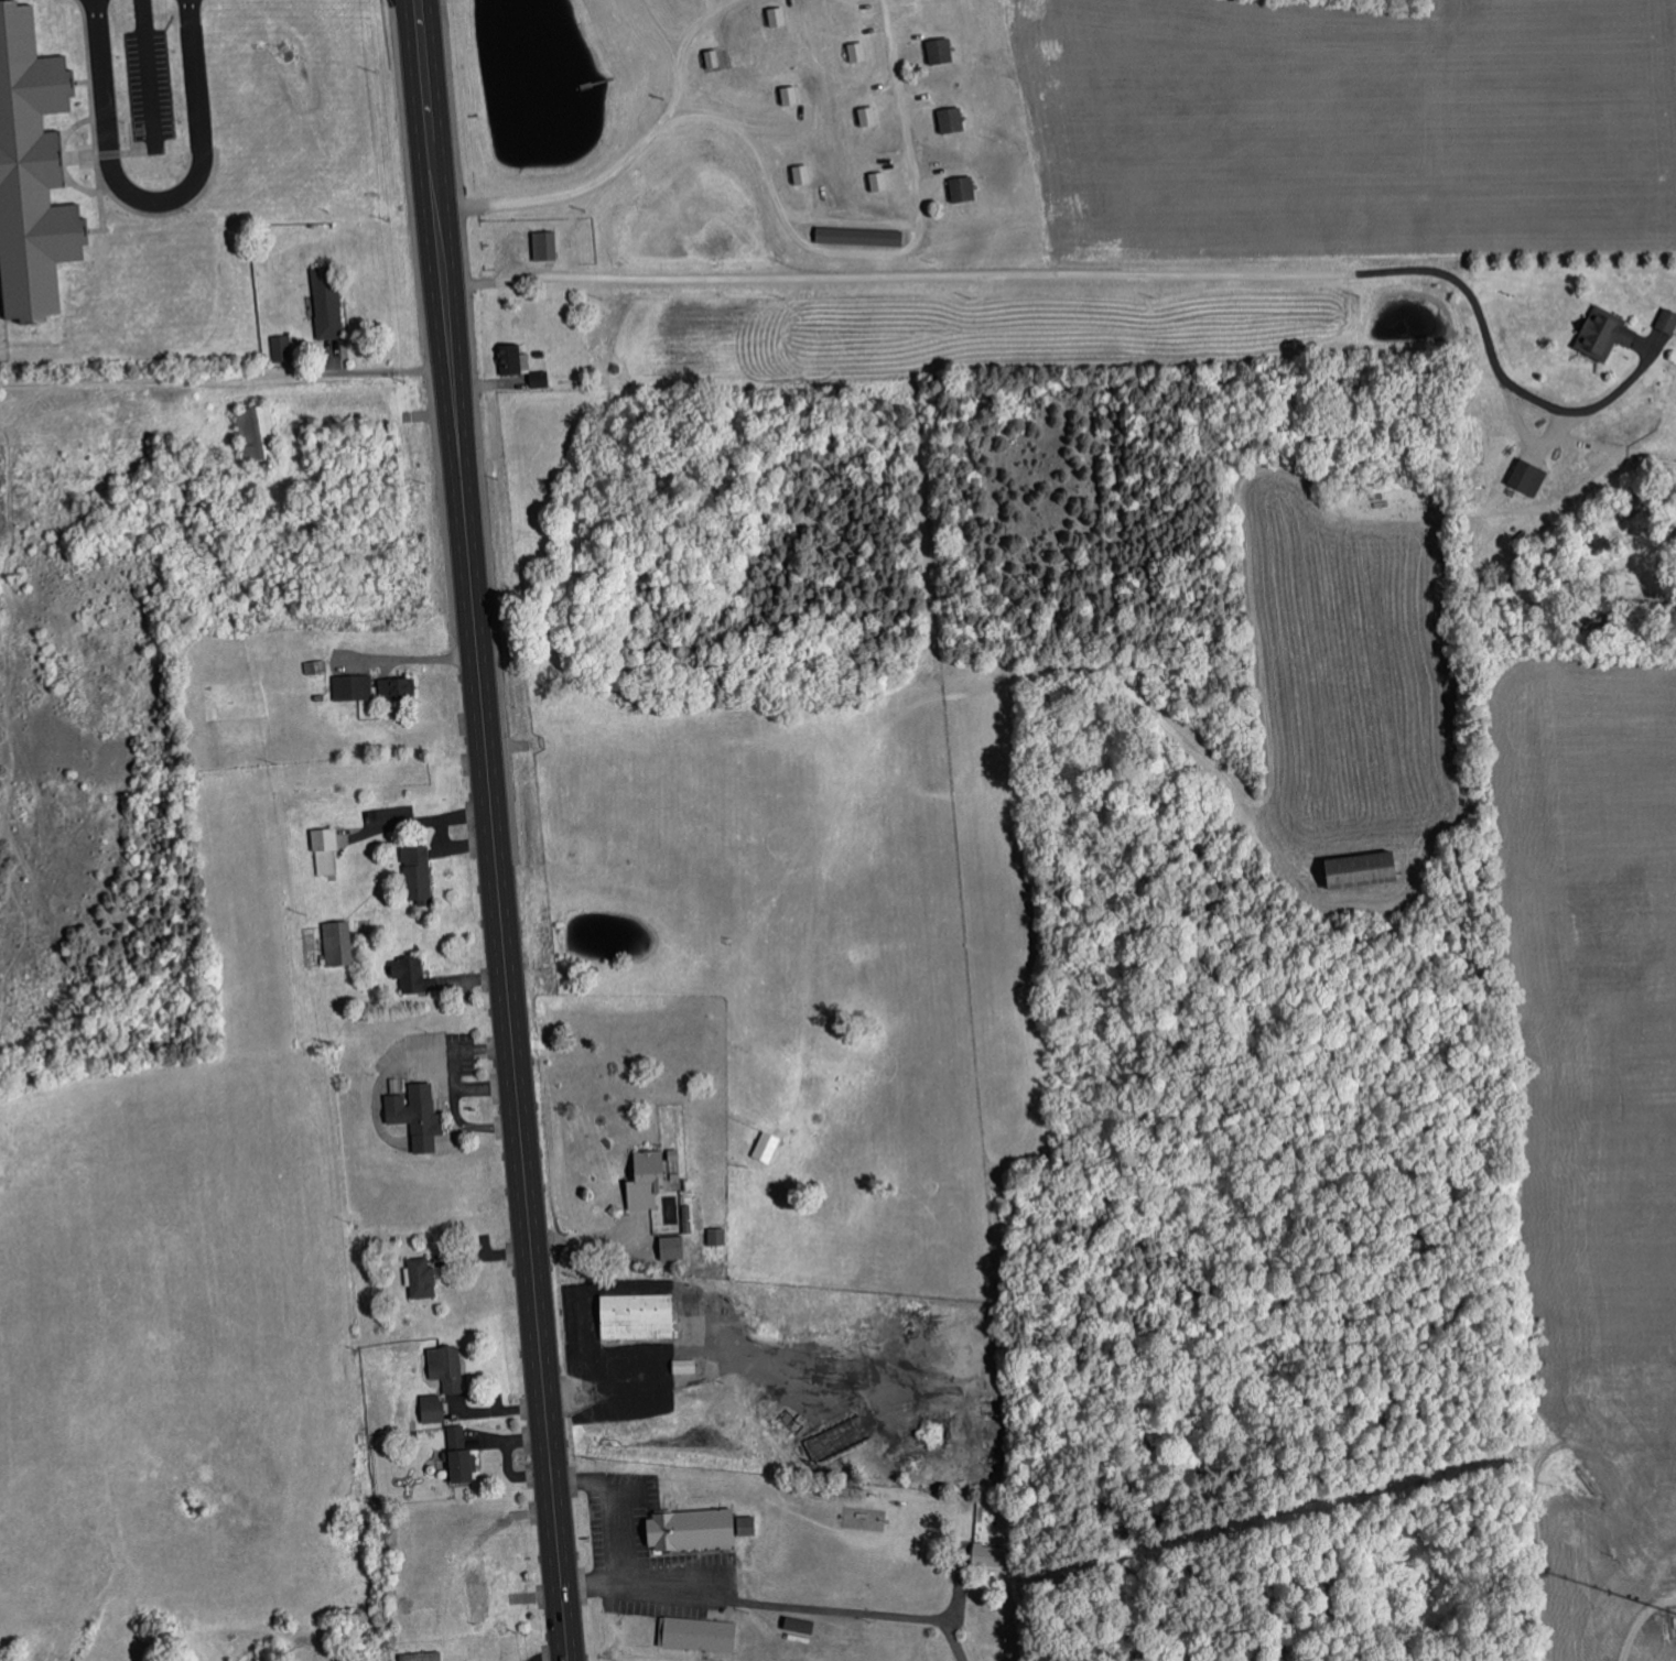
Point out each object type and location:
building: (778, 17)
building: (942, 51)
building: (858, 52)
road: (147, 73)
building: (952, 120)
building: (33, 173)
building: (803, 174)
building: (880, 182)
building: (963, 189)
road: (153, 197)
building: (862, 237)
building: (545, 246)
road: (932, 276)
building: (328, 302)
building: (1668, 319)
building: (1605, 333)
building: (282, 348)
building: (513, 360)
road: (224, 376)
building: (259, 432)
building: (1531, 476)
road: (886, 681)
building: (353, 686)
building: (399, 686)
road: (494, 829)
building: (326, 850)
building: (1370, 870)
building: (419, 872)
building: (339, 942)
building: (411, 973)
building: (419, 1114)
building: (768, 1147)
building: (649, 1179)
building: (718, 1236)
building: (674, 1247)
building: (422, 1277)
building: (639, 1315)
building: (686, 1366)
building: (447, 1367)
building: (433, 1408)
building: (462, 1455)
road: (1532, 1490)
building: (699, 1529)
building: (988, 1555)
building: (479, 1596)
building: (699, 1632)
building: (423, 1657)

